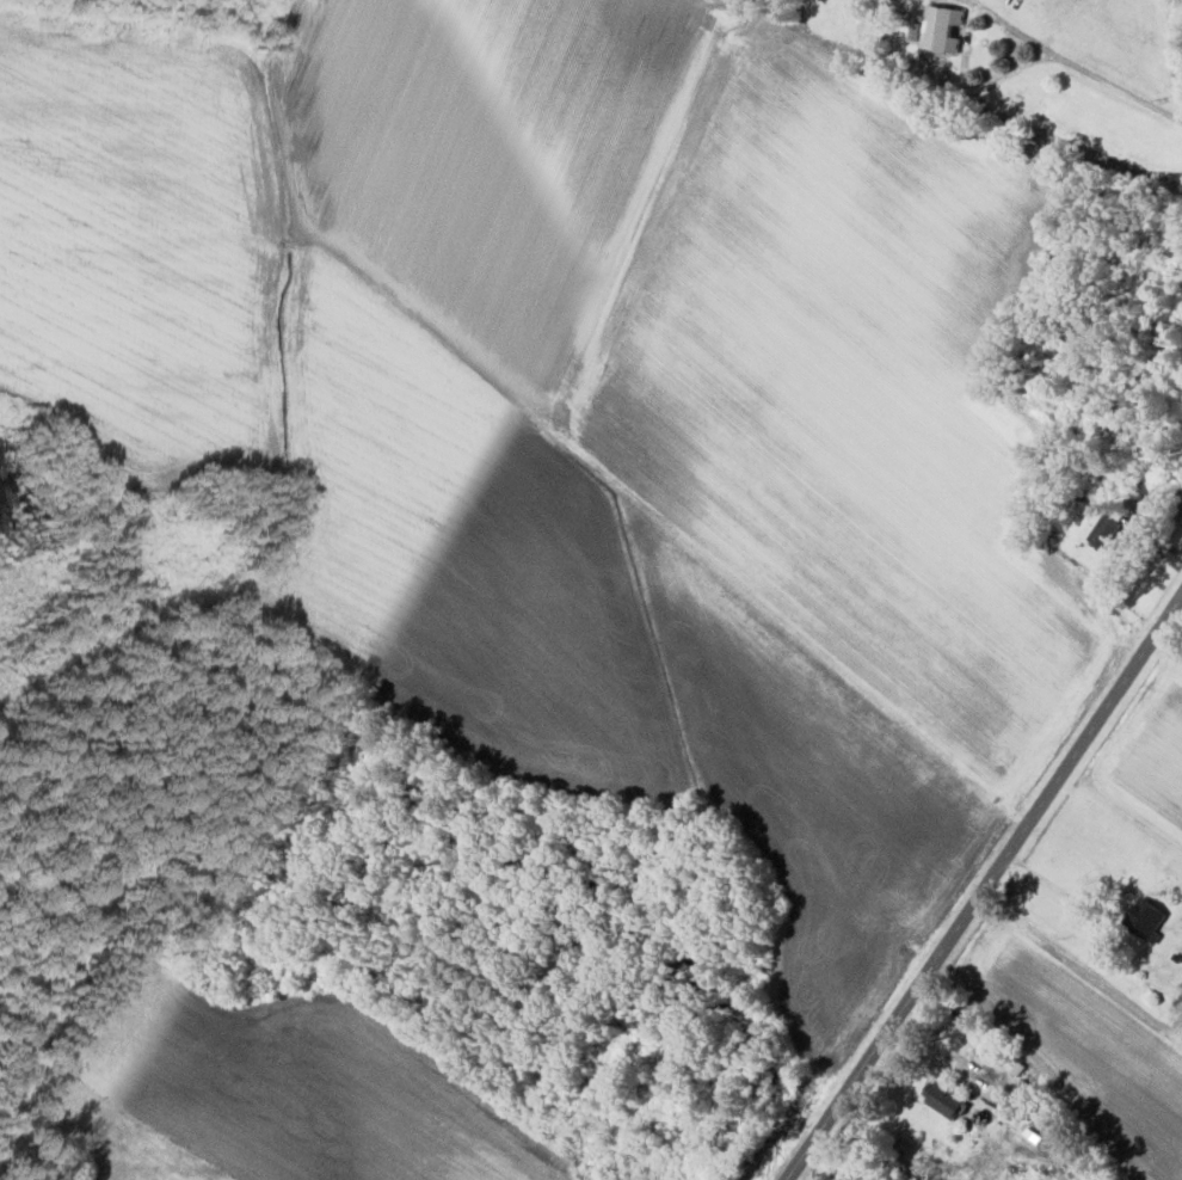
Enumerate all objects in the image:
road: (1075, 66)
building: (1102, 528)
road: (1169, 638)
road: (983, 885)
building: (1144, 917)
building: (943, 1099)

